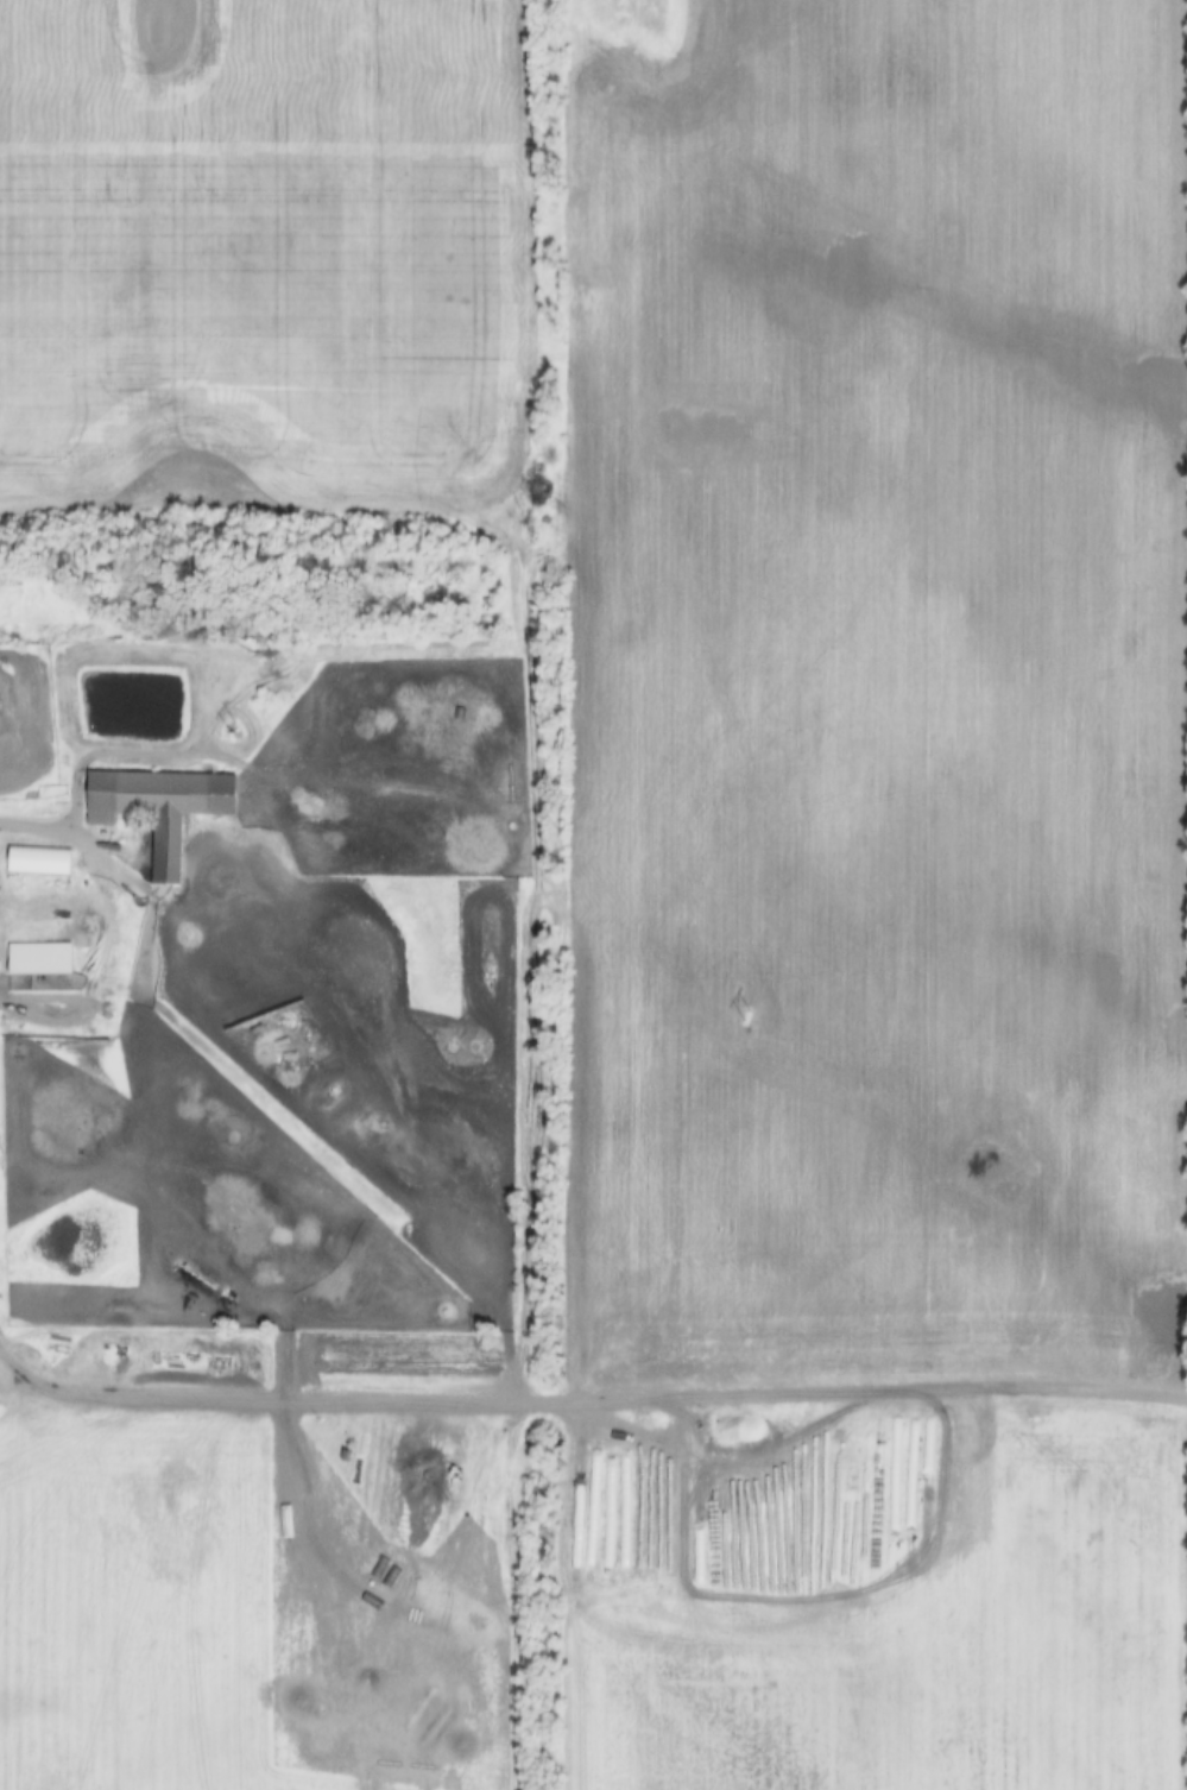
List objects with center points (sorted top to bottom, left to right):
power tower: (229, 726)
building: (162, 808)
building: (42, 861)
building: (43, 959)
power tower: (747, 1011)
road: (18, 1359)
road: (20, 1384)
road: (613, 1393)

